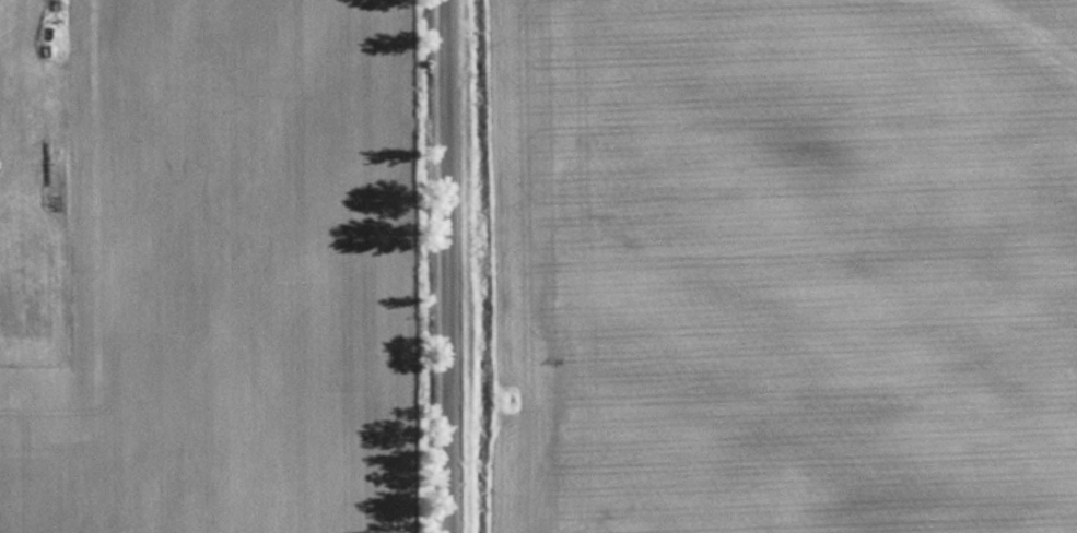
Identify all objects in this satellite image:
road: (450, 266)

